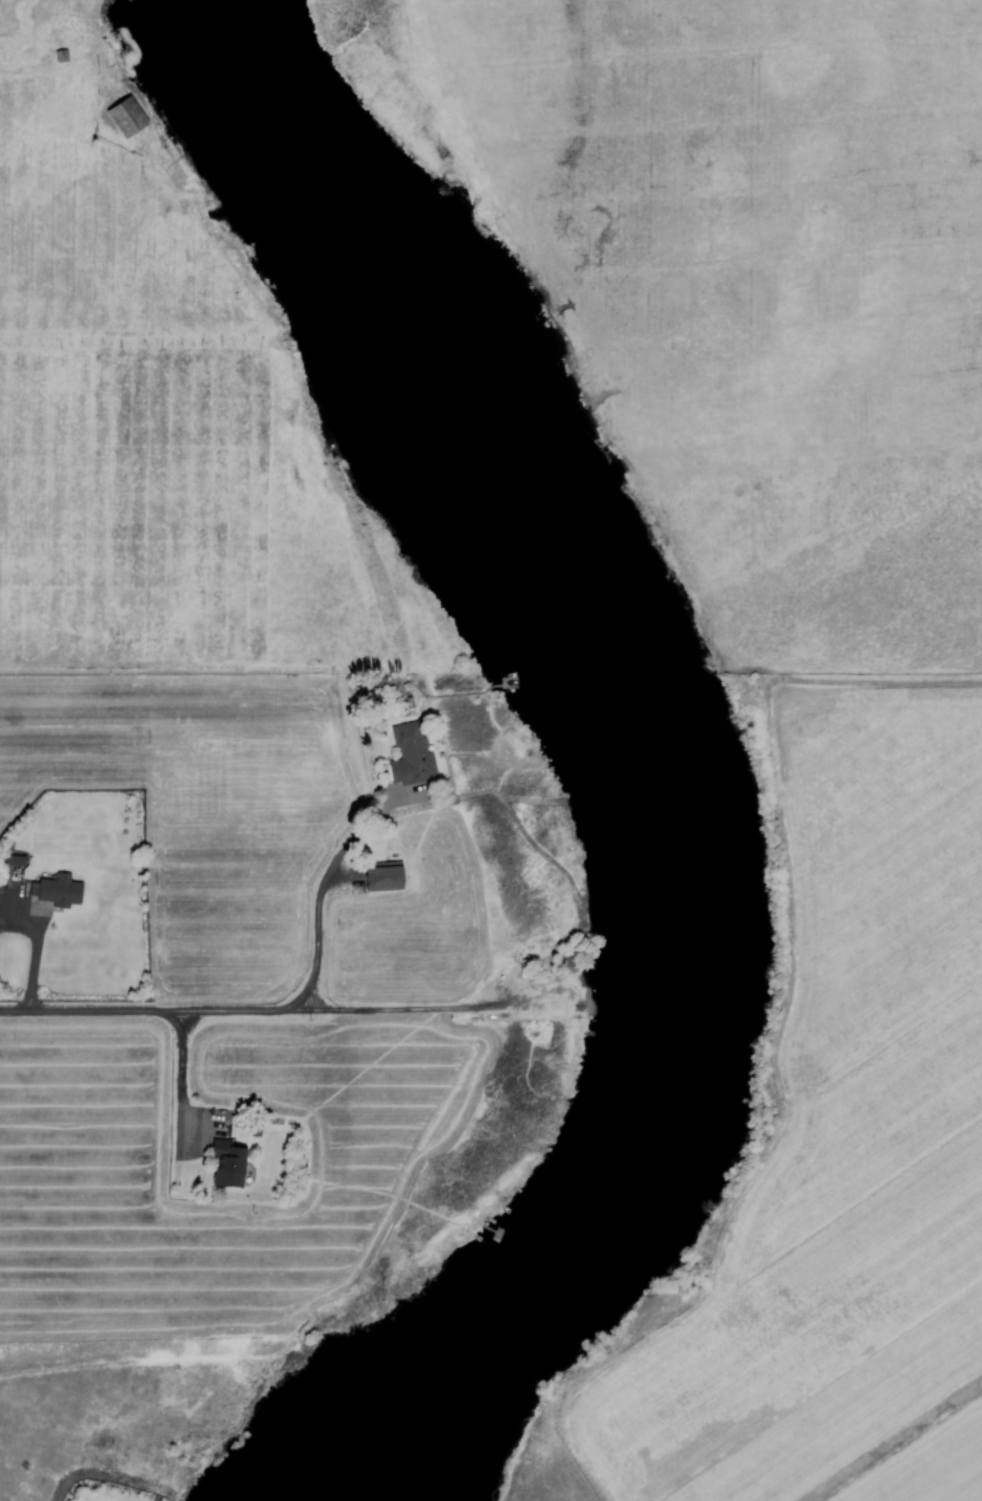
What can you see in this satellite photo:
building: (129, 117)
river: (619, 753)
building: (413, 754)
building: (16, 860)
building: (387, 877)
building: (58, 891)
building: (232, 1164)

